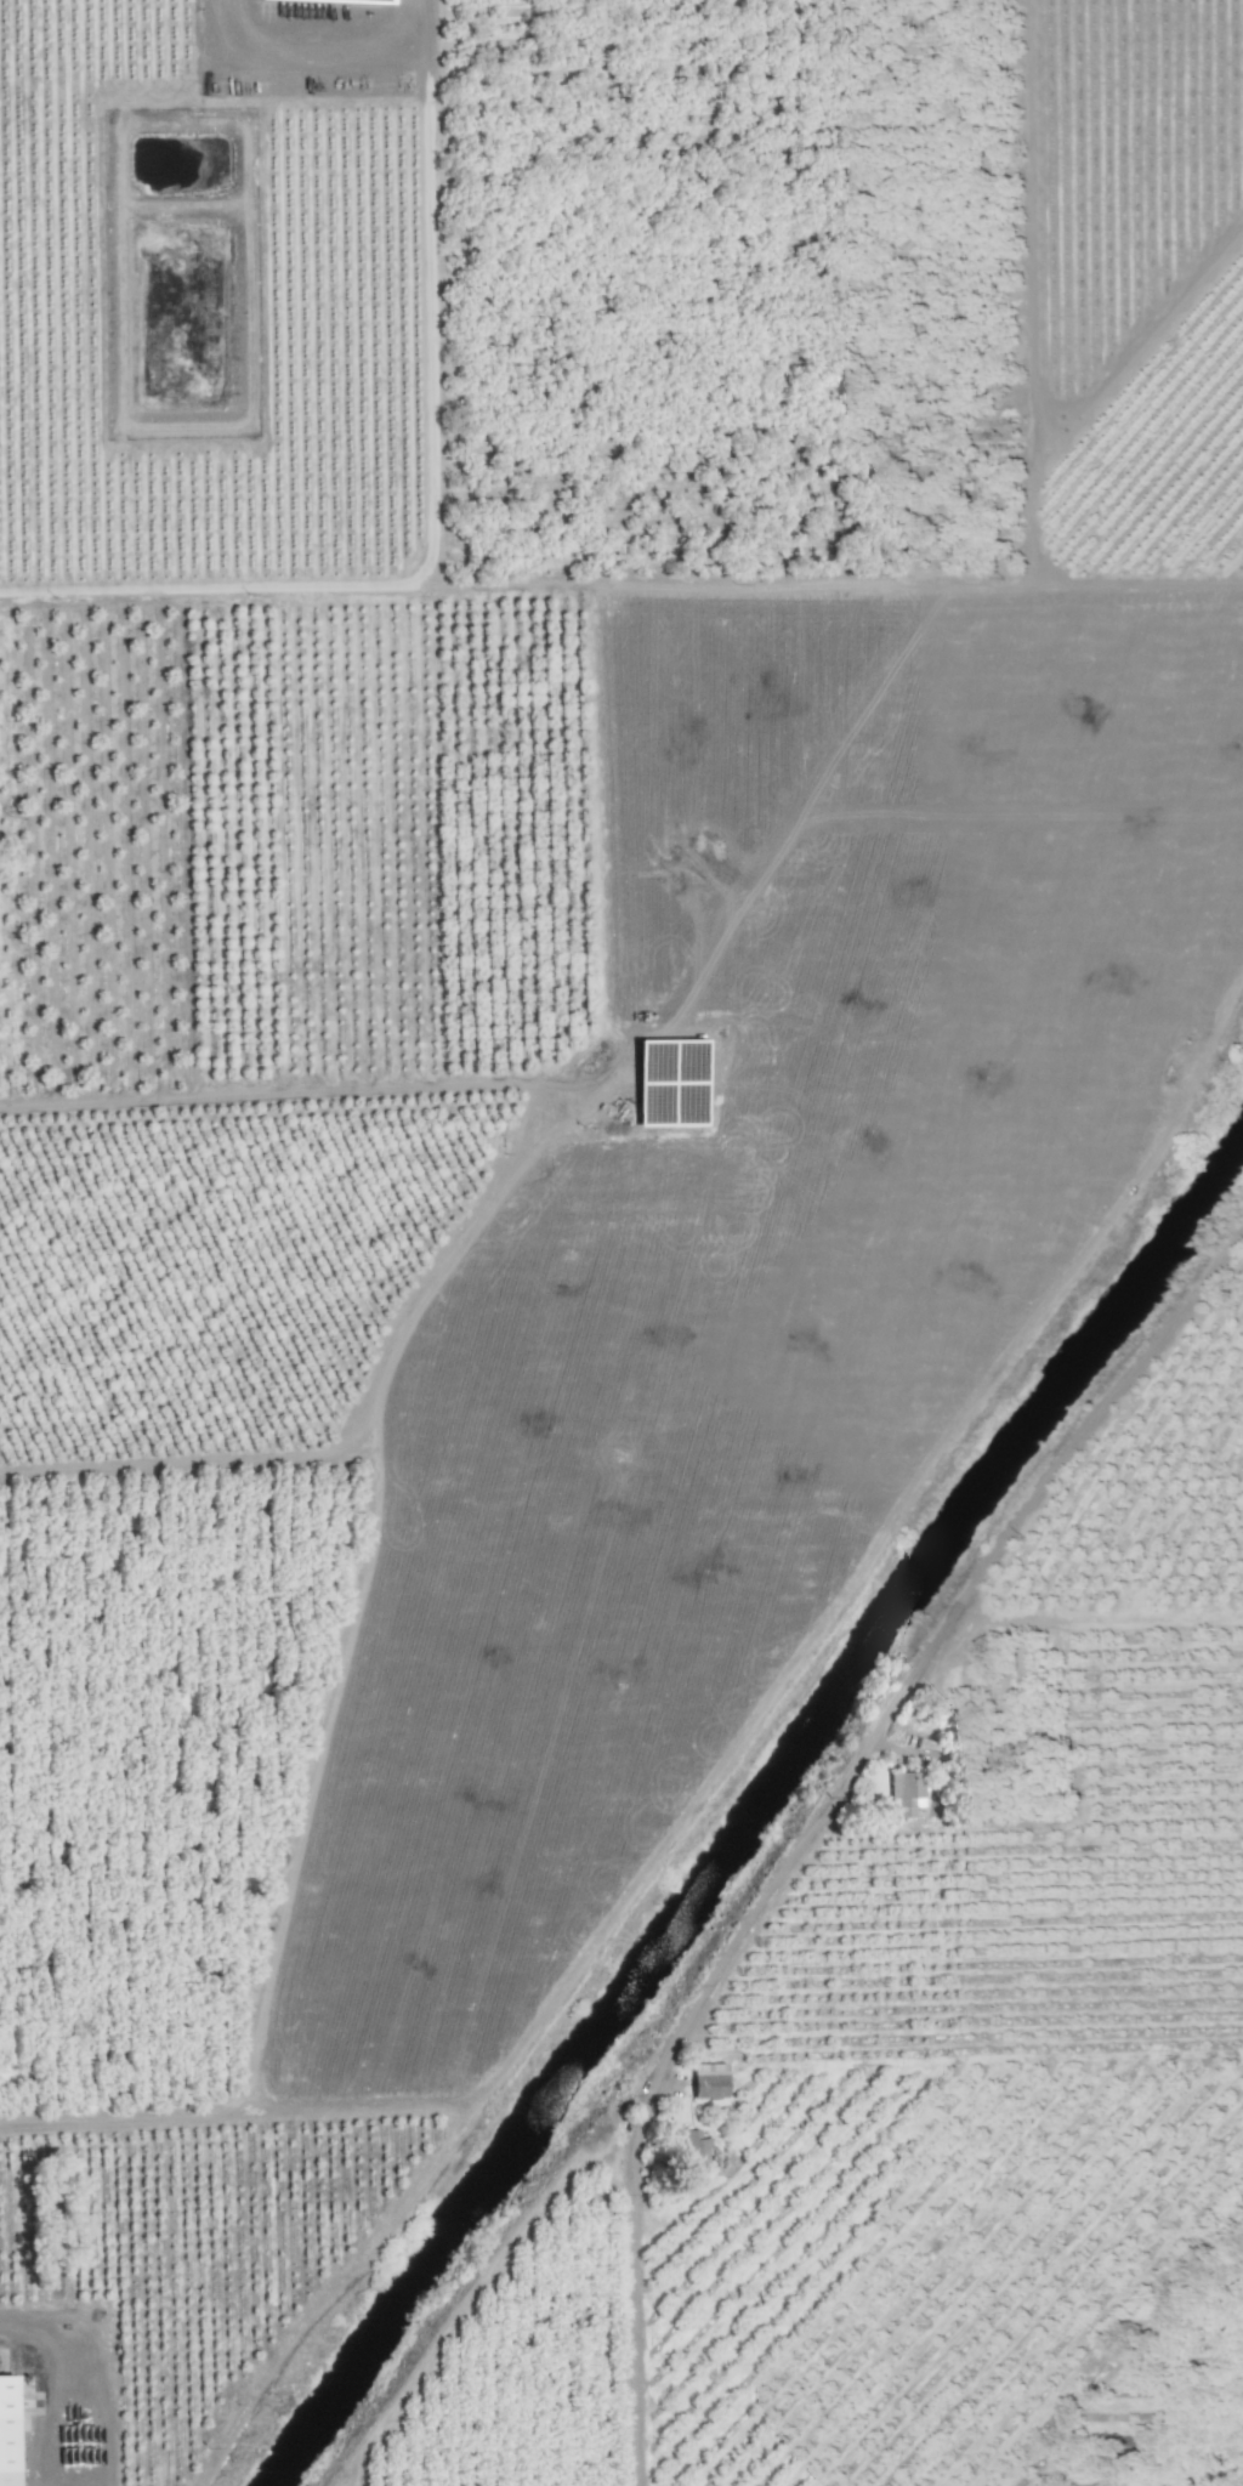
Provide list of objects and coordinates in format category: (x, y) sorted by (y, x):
road: (910, 1678)
building: (908, 1790)
building: (710, 2079)
building: (698, 2147)
road: (636, 2322)
building: (8, 2430)

